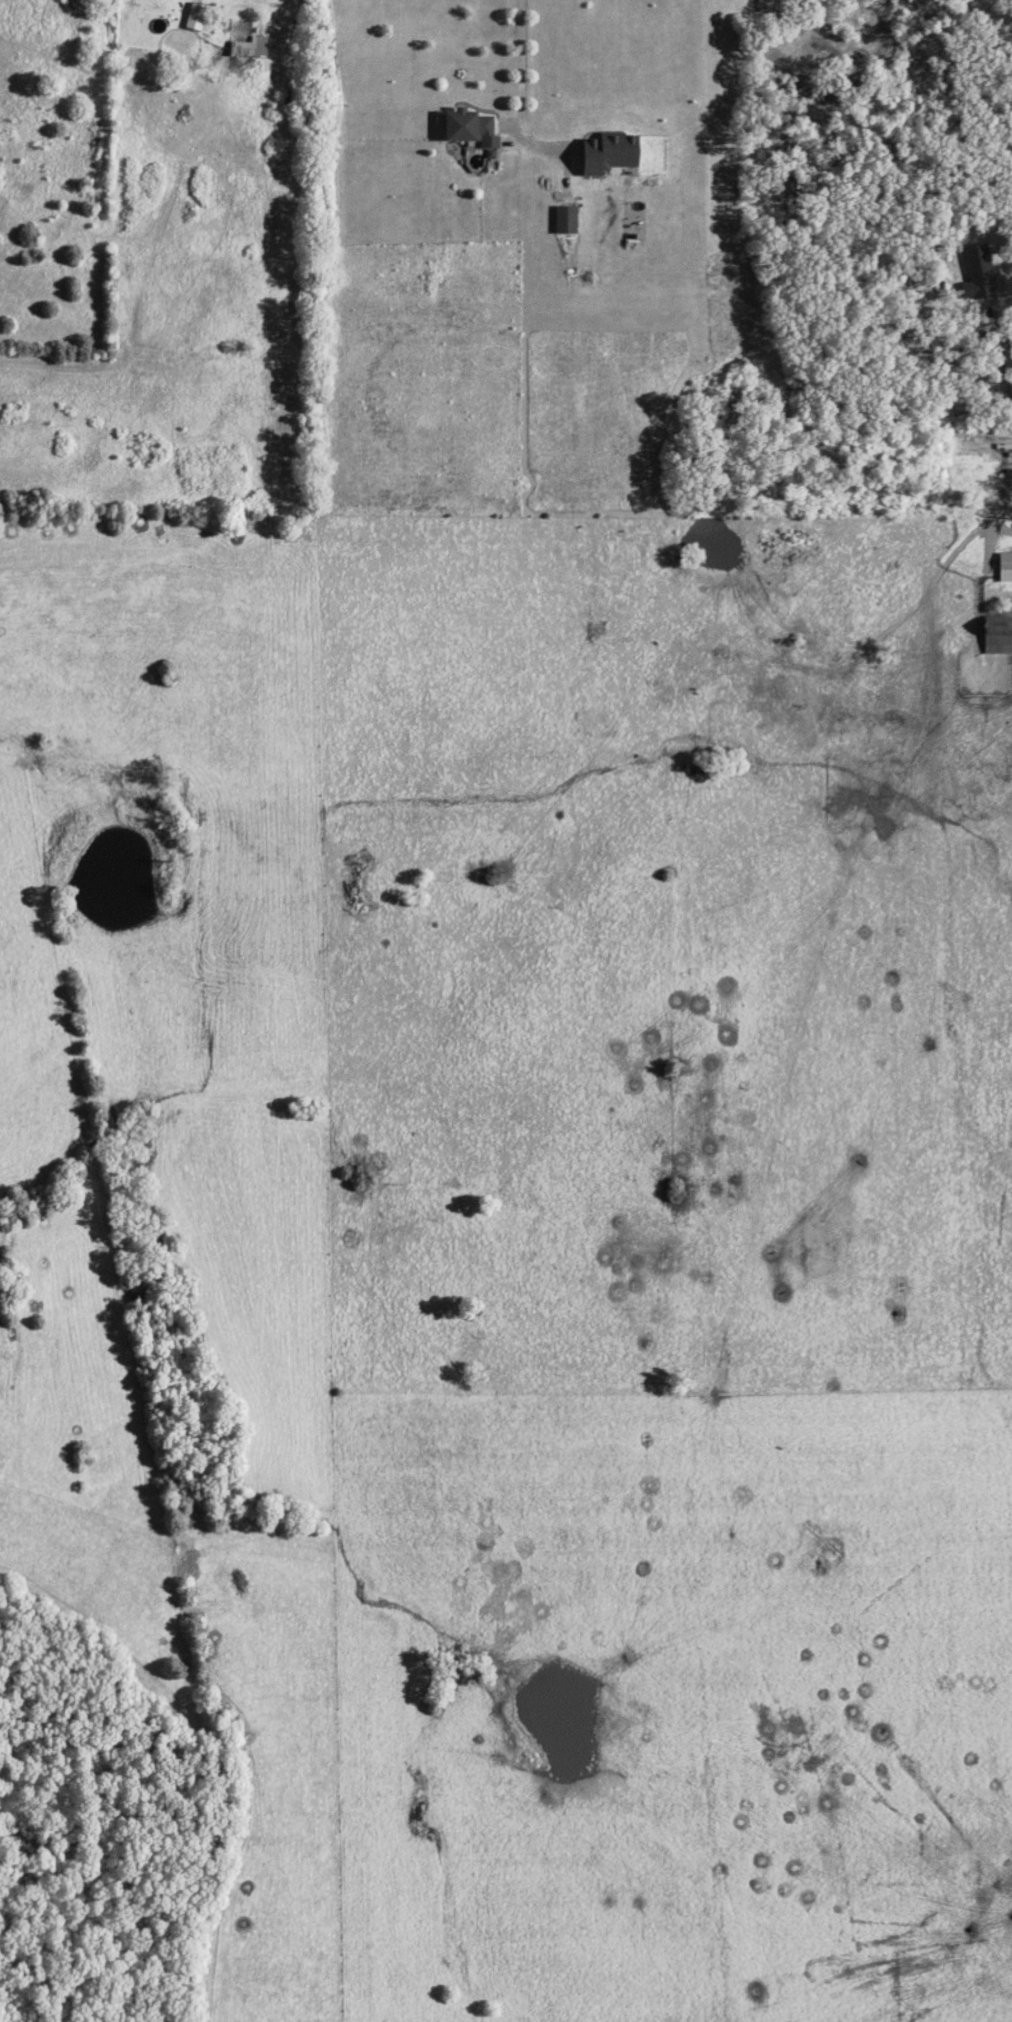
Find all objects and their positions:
building: (194, 18)
building: (249, 49)
road: (213, 51)
road: (523, 60)
building: (469, 130)
building: (608, 154)
building: (566, 221)
building: (976, 274)
road: (994, 511)
building: (1005, 568)

